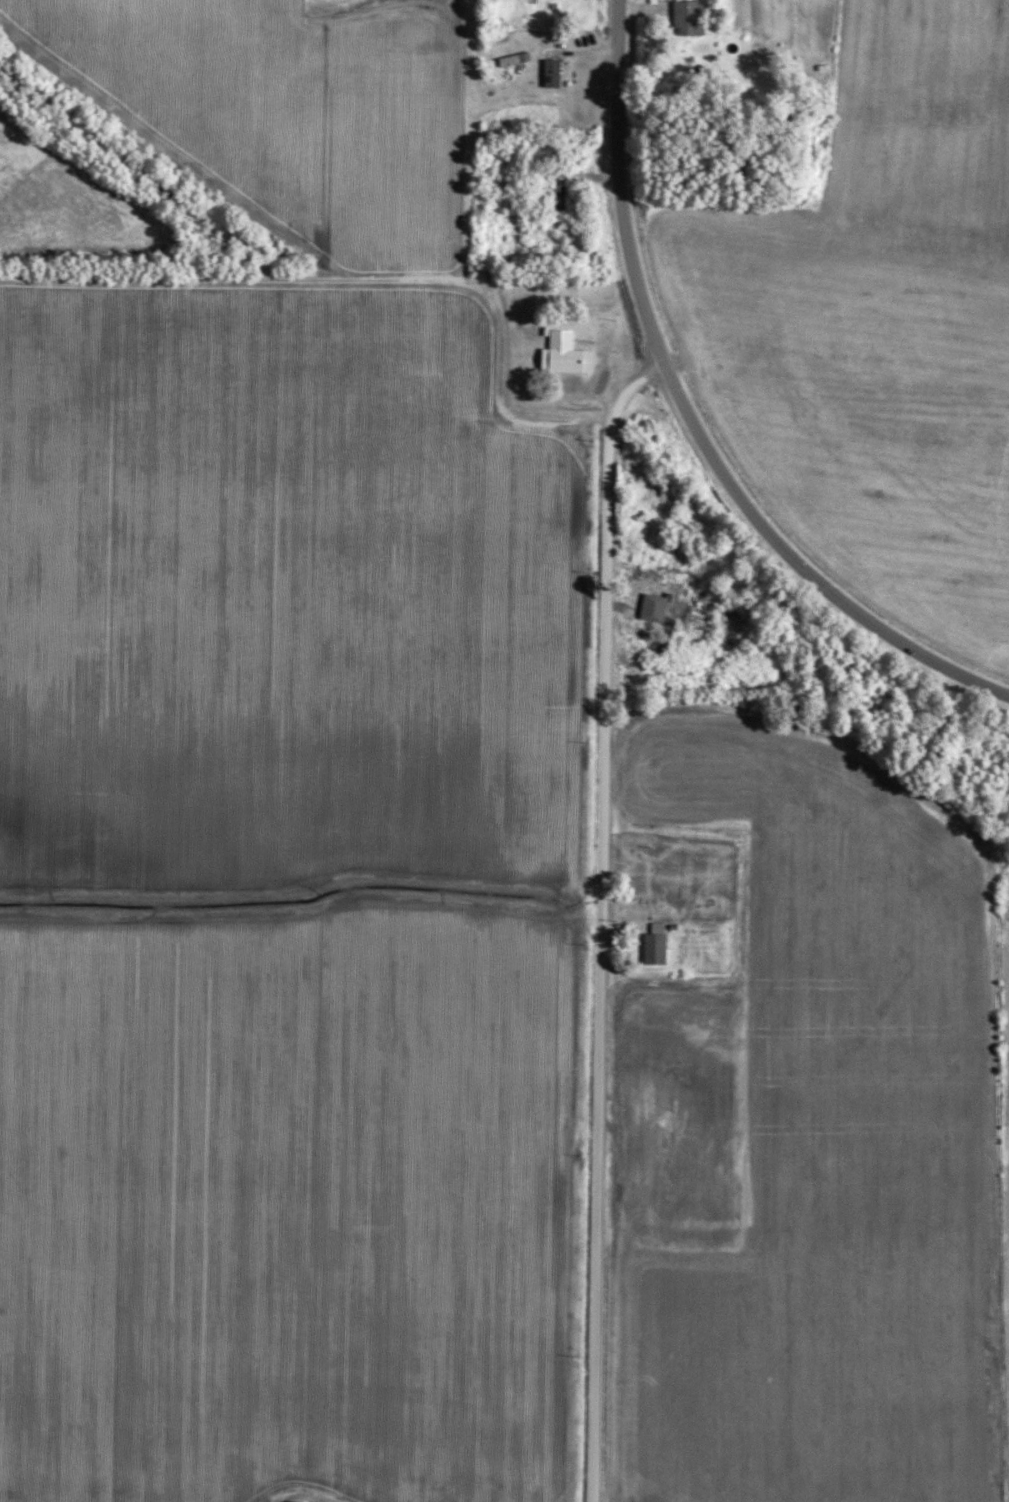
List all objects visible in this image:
building: (686, 17)
building: (557, 191)
road: (363, 281)
building: (560, 356)
road: (690, 419)
building: (653, 607)
road: (603, 919)
building: (655, 943)
building: (655, 1098)
building: (684, 1120)

